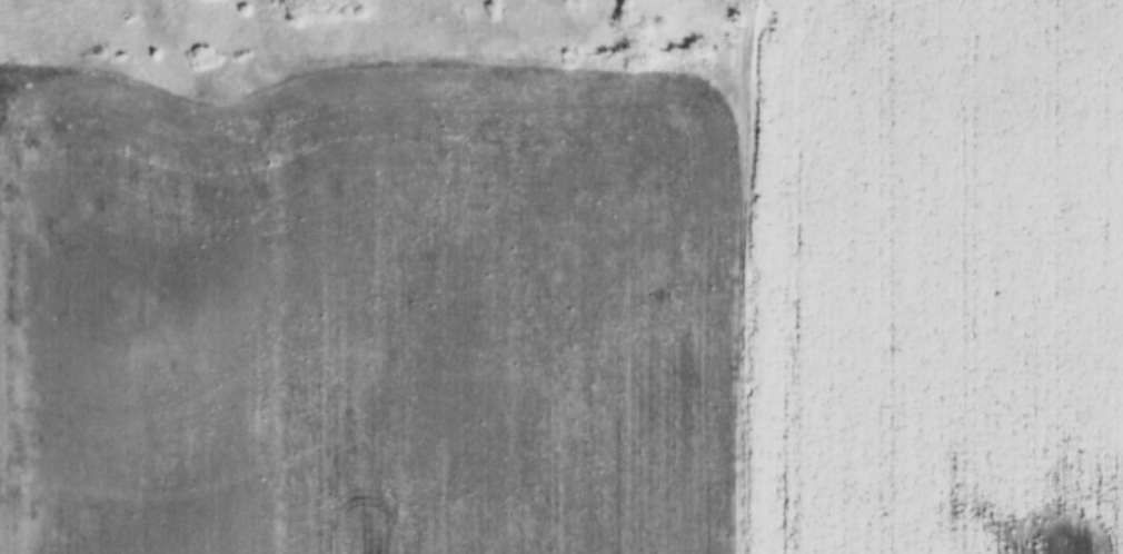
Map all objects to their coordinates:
road: (751, 277)

